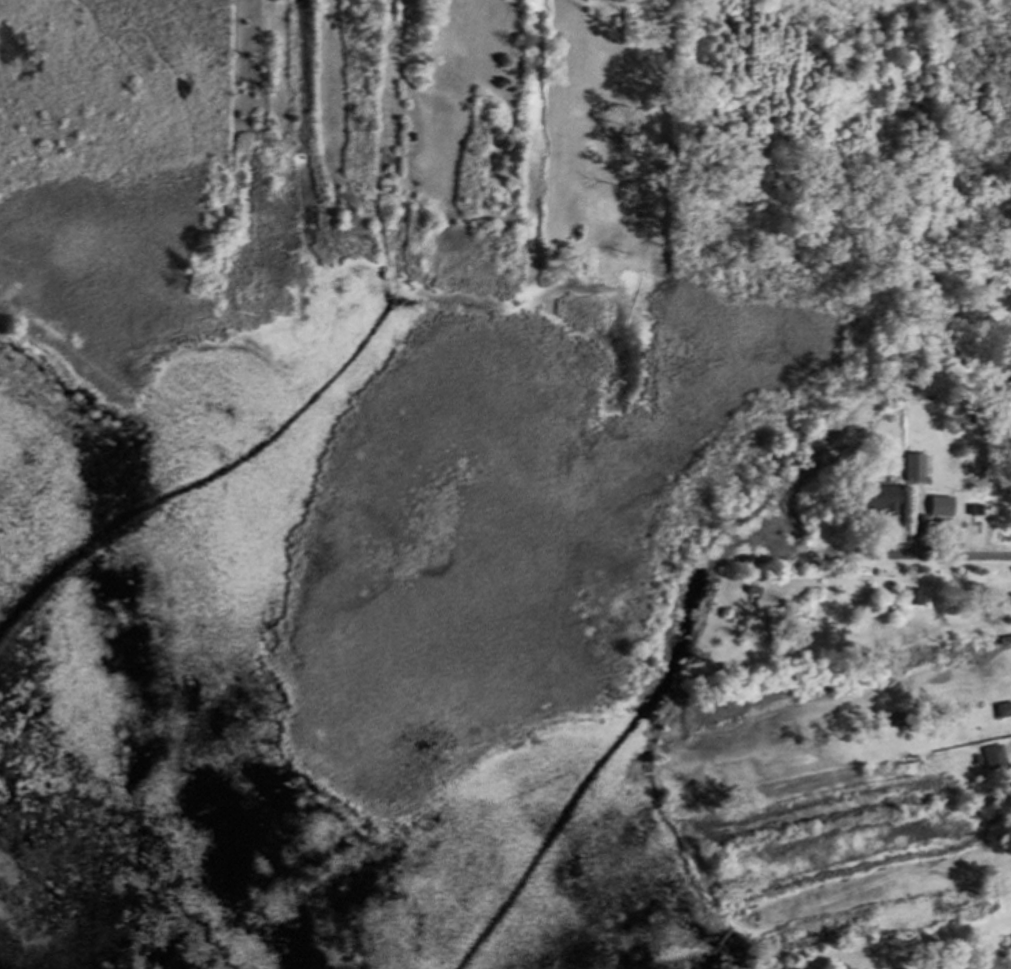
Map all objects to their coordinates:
building: (915, 469)
building: (884, 503)
building: (943, 508)
road: (921, 566)
building: (995, 759)

